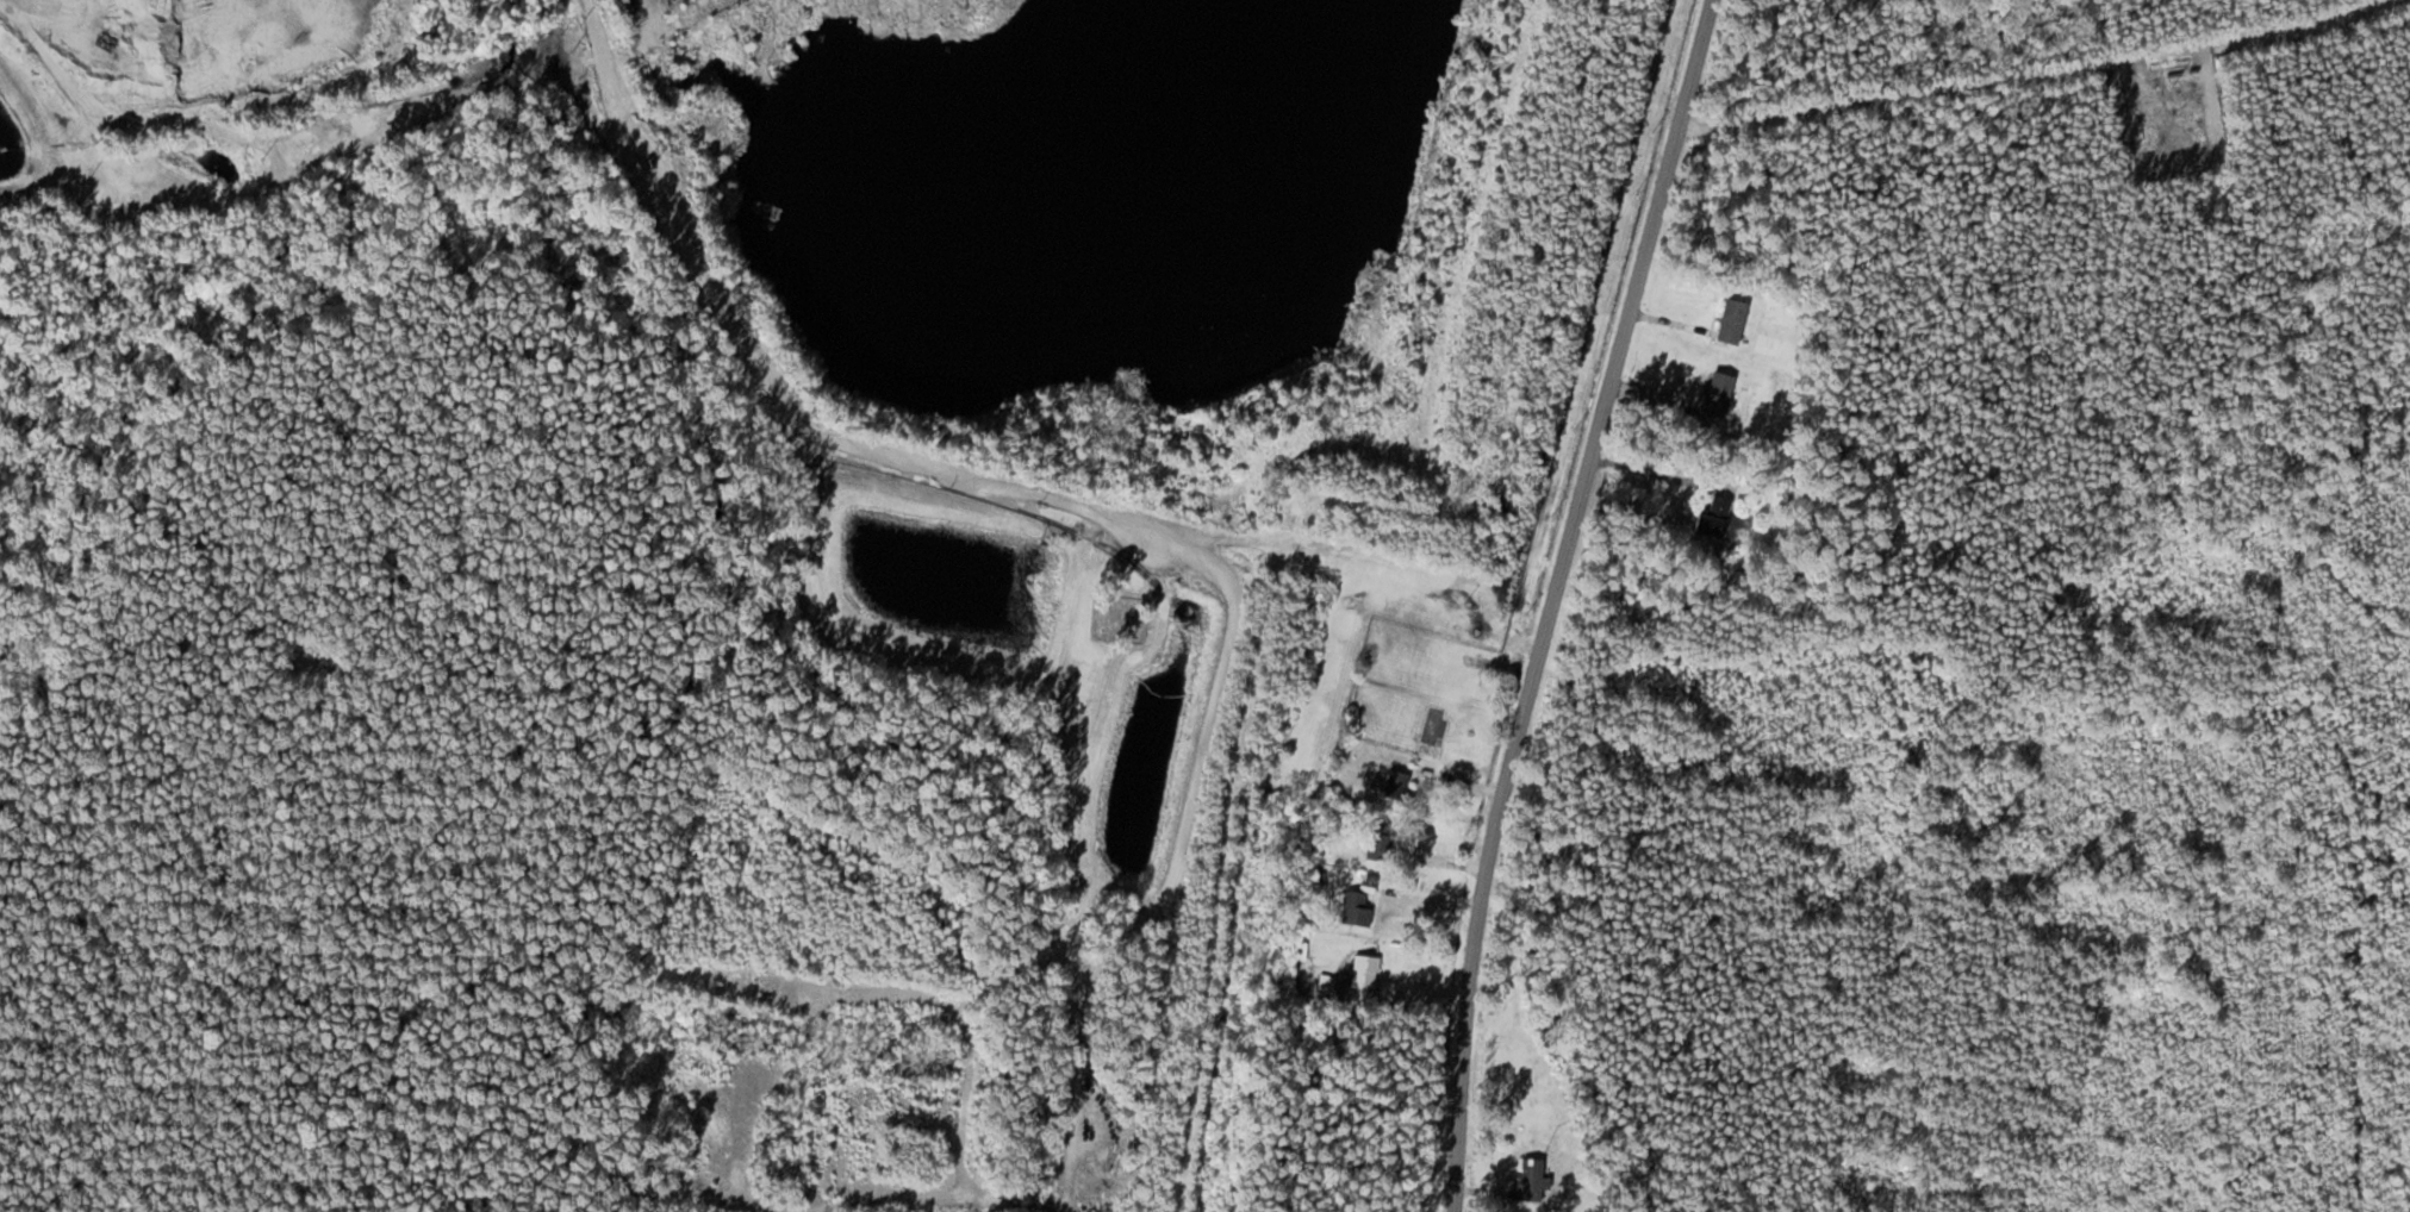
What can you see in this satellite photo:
road: (2023, 68)
quarry: (174, 71)
quarry: (1096, 204)
building: (1729, 323)
building: (1714, 396)
building: (1707, 520)
road: (1553, 600)
building: (1394, 787)
building: (1380, 849)
building: (1355, 908)
building: (1362, 970)
road: (1555, 1024)
building: (1530, 1179)

